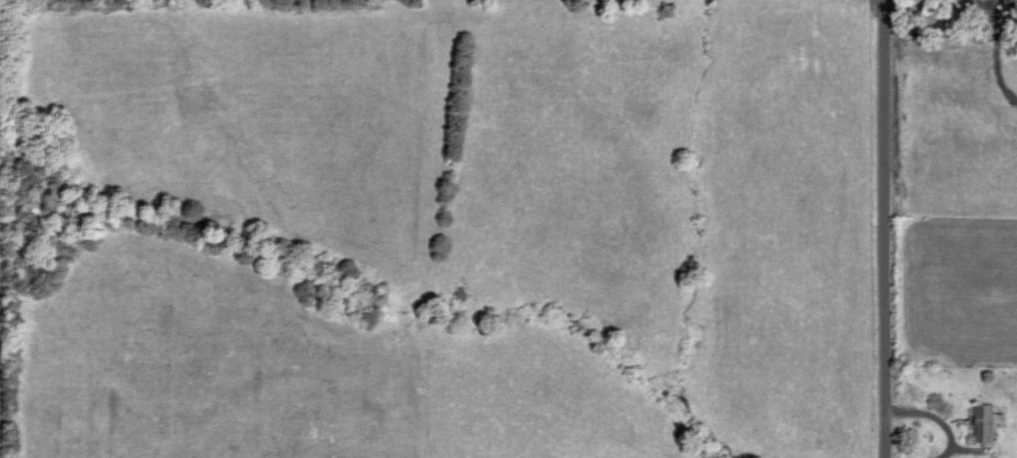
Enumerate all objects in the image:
road: (870, 229)
building: (988, 424)

